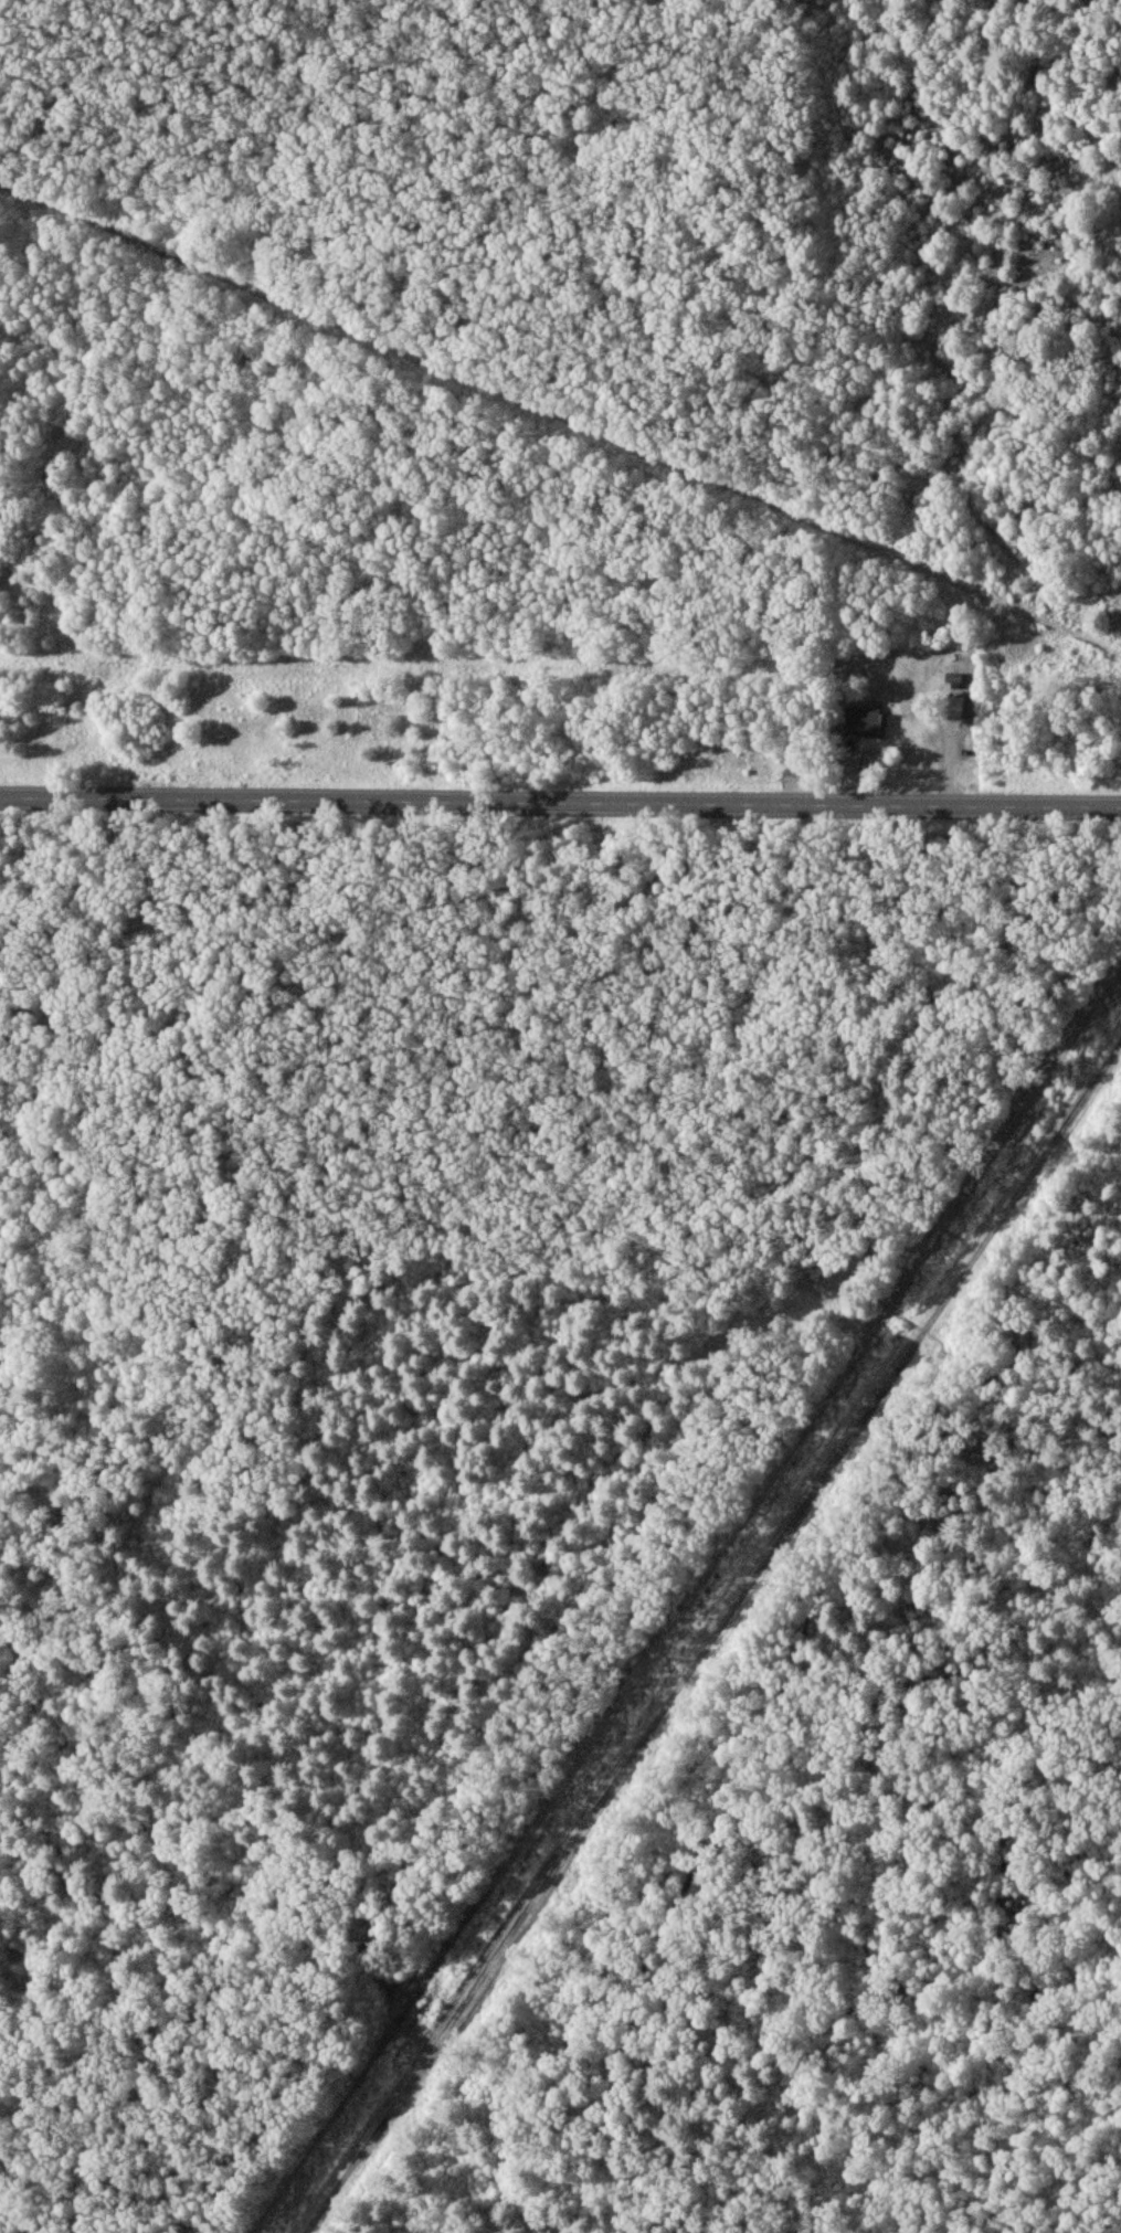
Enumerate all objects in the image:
building: (952, 707)
building: (866, 722)
road: (560, 804)

